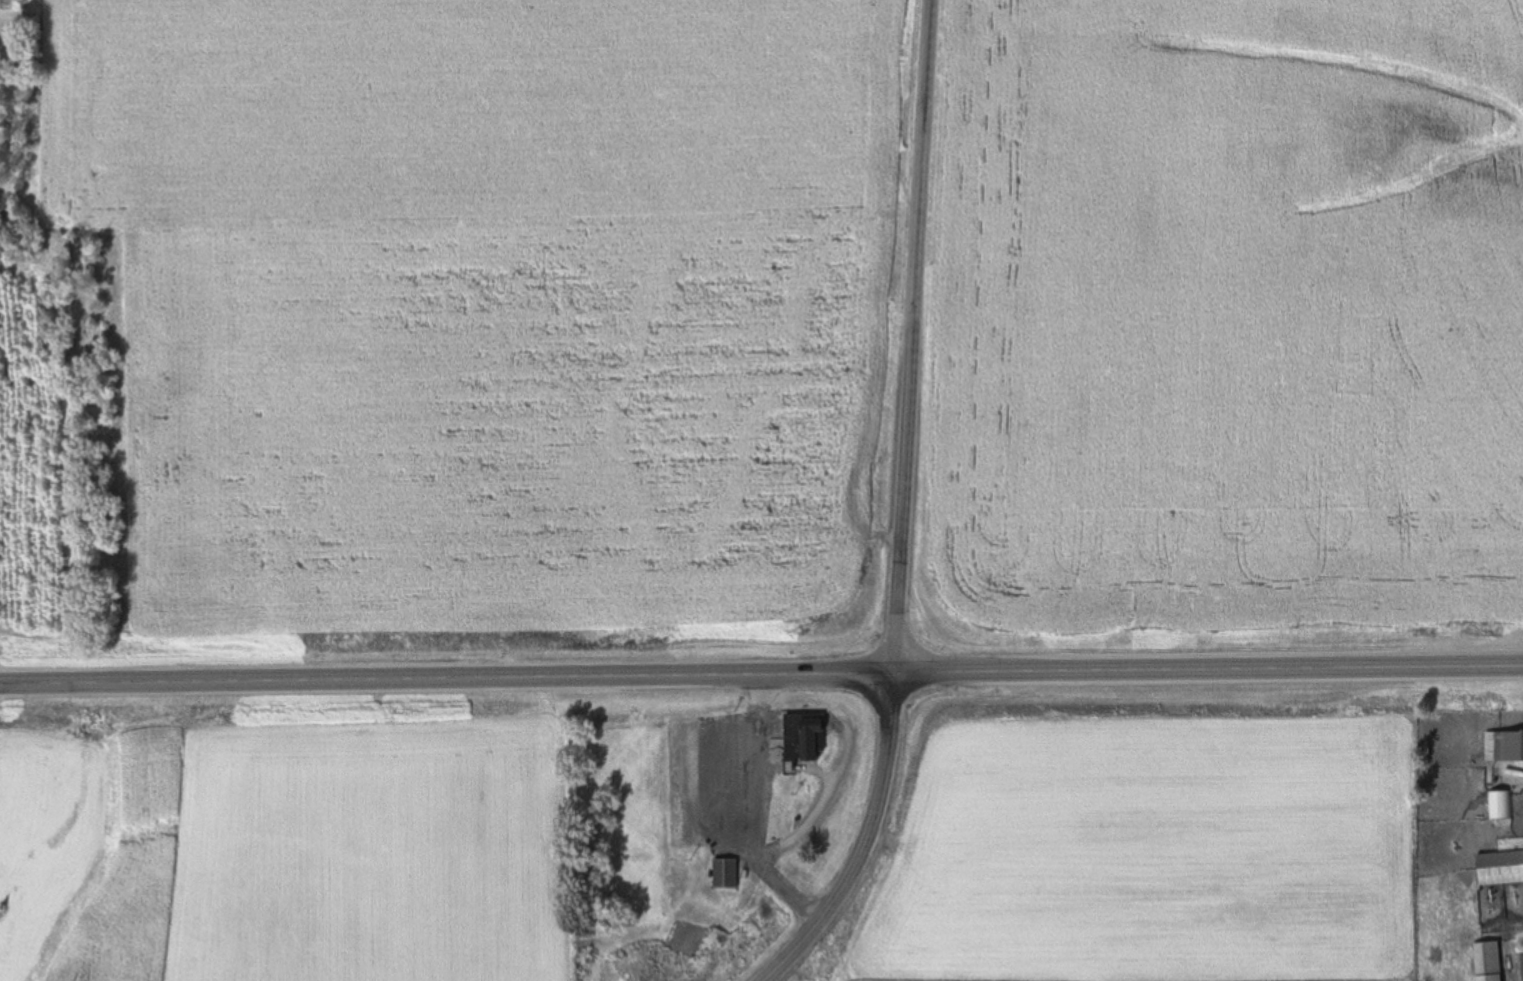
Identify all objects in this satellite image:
road: (913, 337)
road: (761, 676)
building: (802, 736)
building: (1503, 746)
building: (1501, 804)
road: (757, 812)
road: (866, 842)
building: (1500, 867)
building: (725, 873)
building: (1487, 961)

